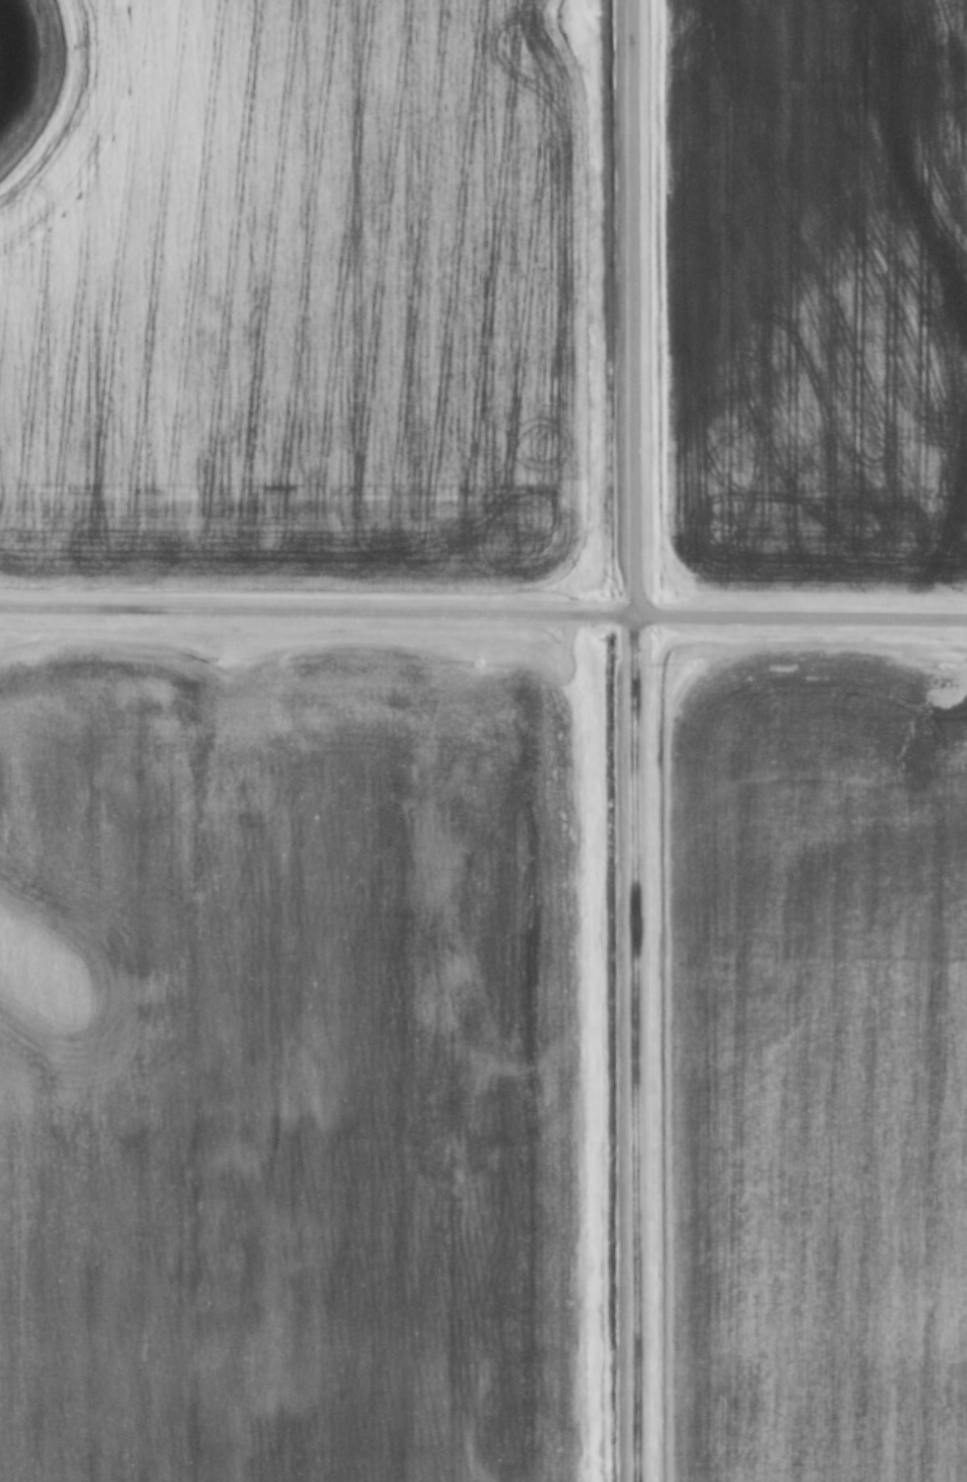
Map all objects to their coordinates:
road: (638, 306)
road: (319, 609)
road: (802, 615)
road: (639, 1047)

